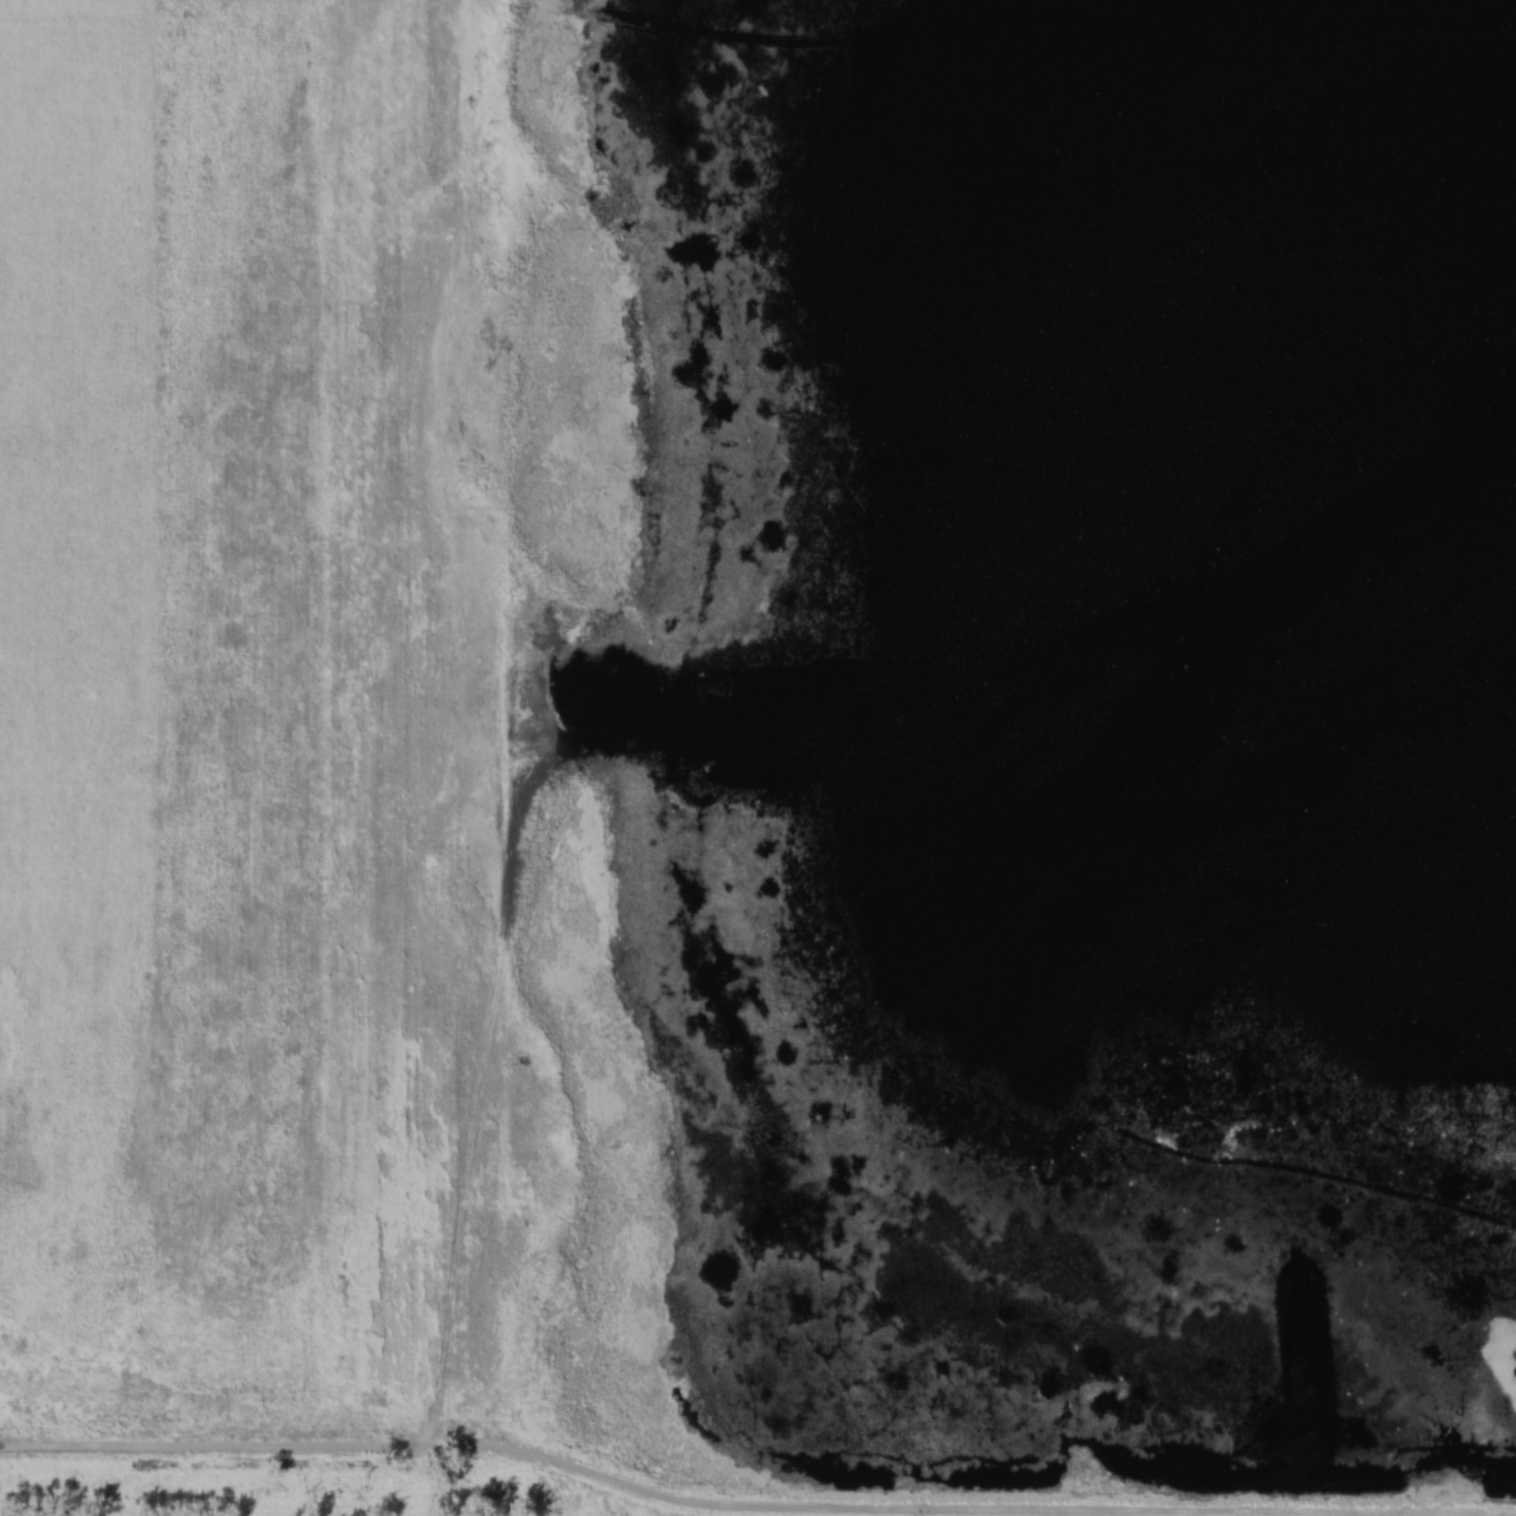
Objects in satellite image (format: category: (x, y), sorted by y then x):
dam: (1146, 1493)
road: (751, 1504)

